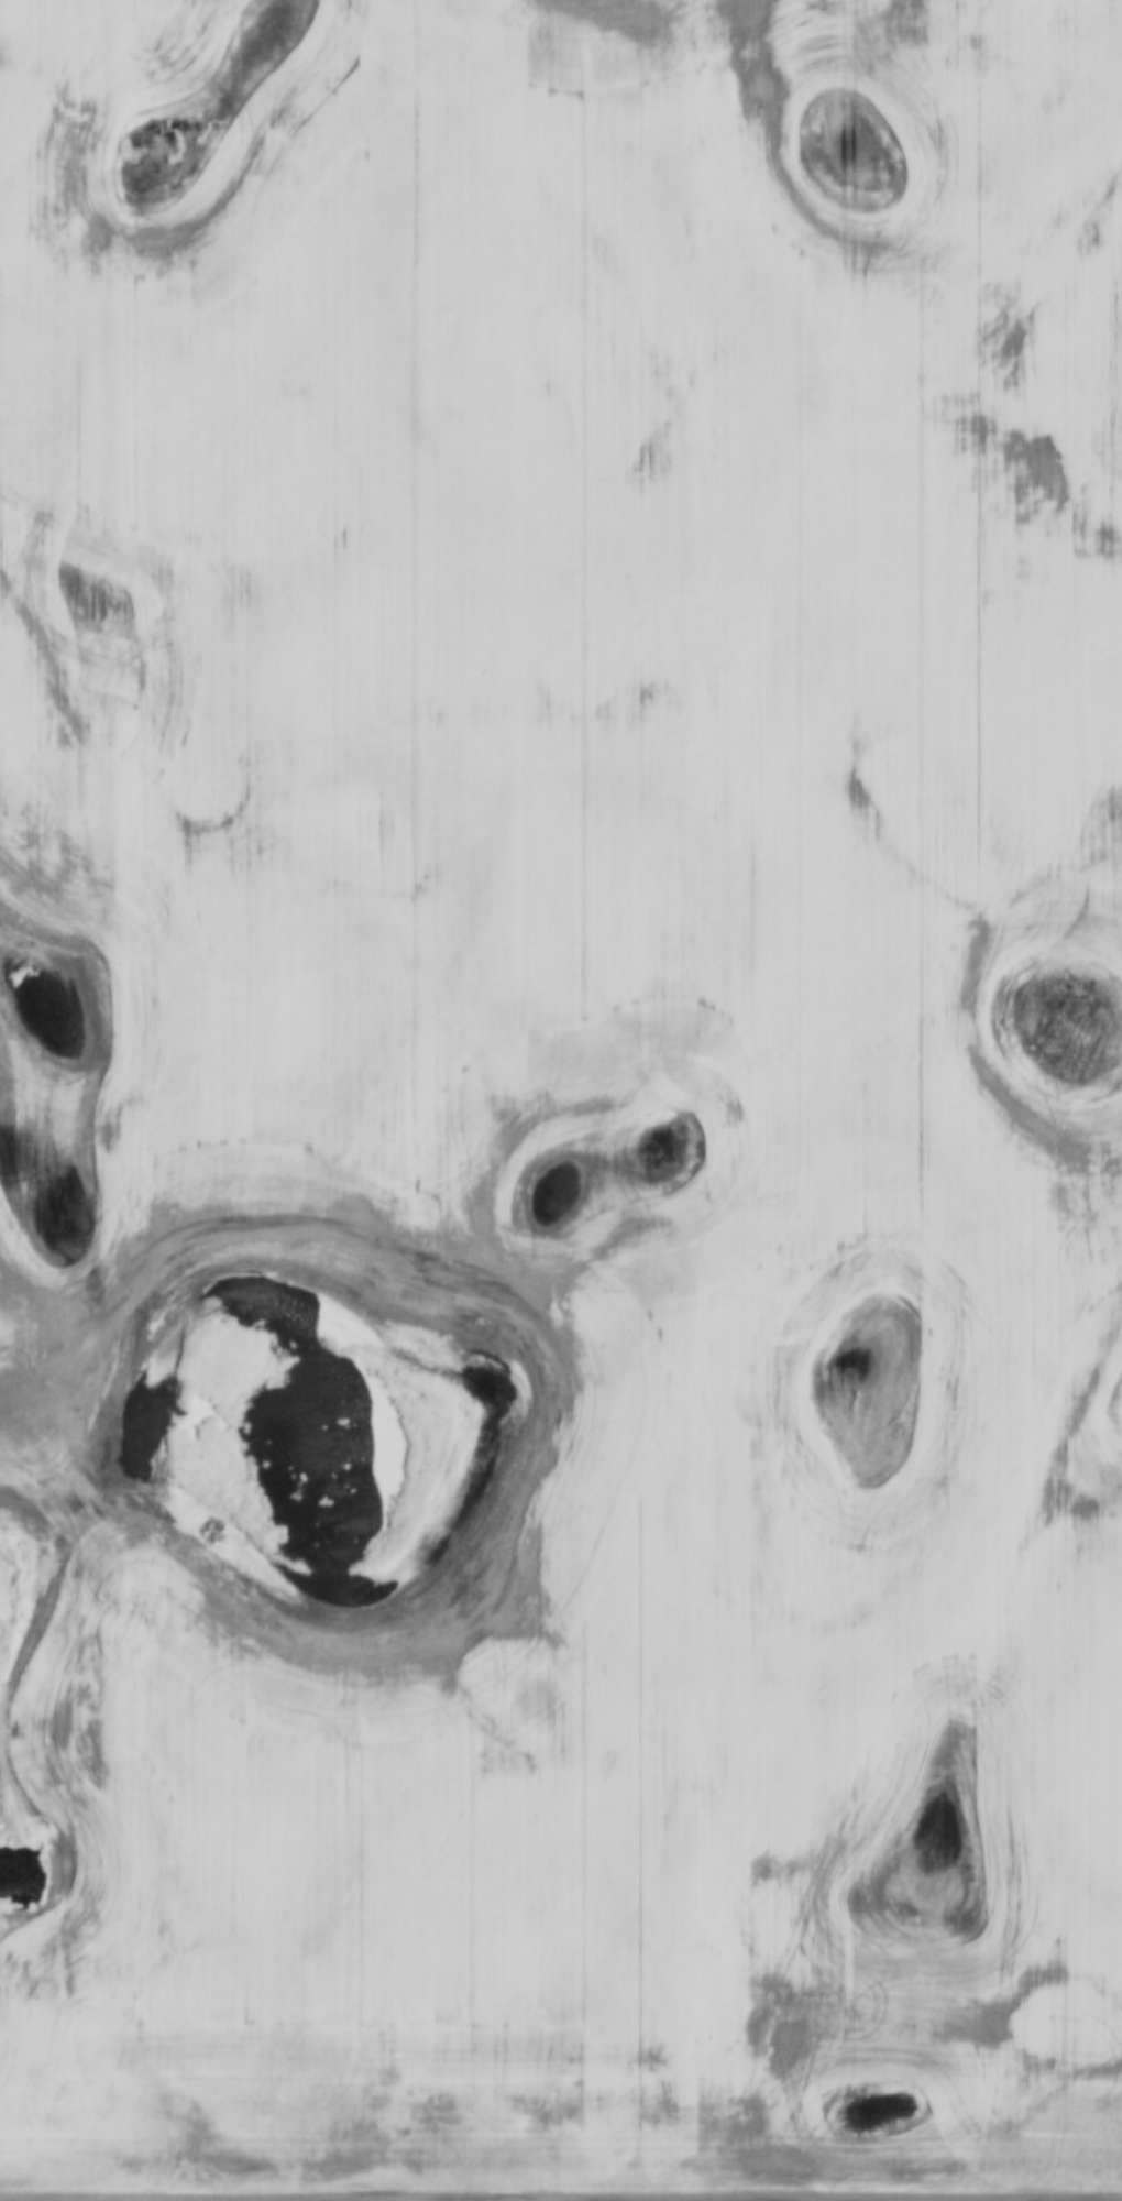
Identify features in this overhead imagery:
road: (561, 2200)

